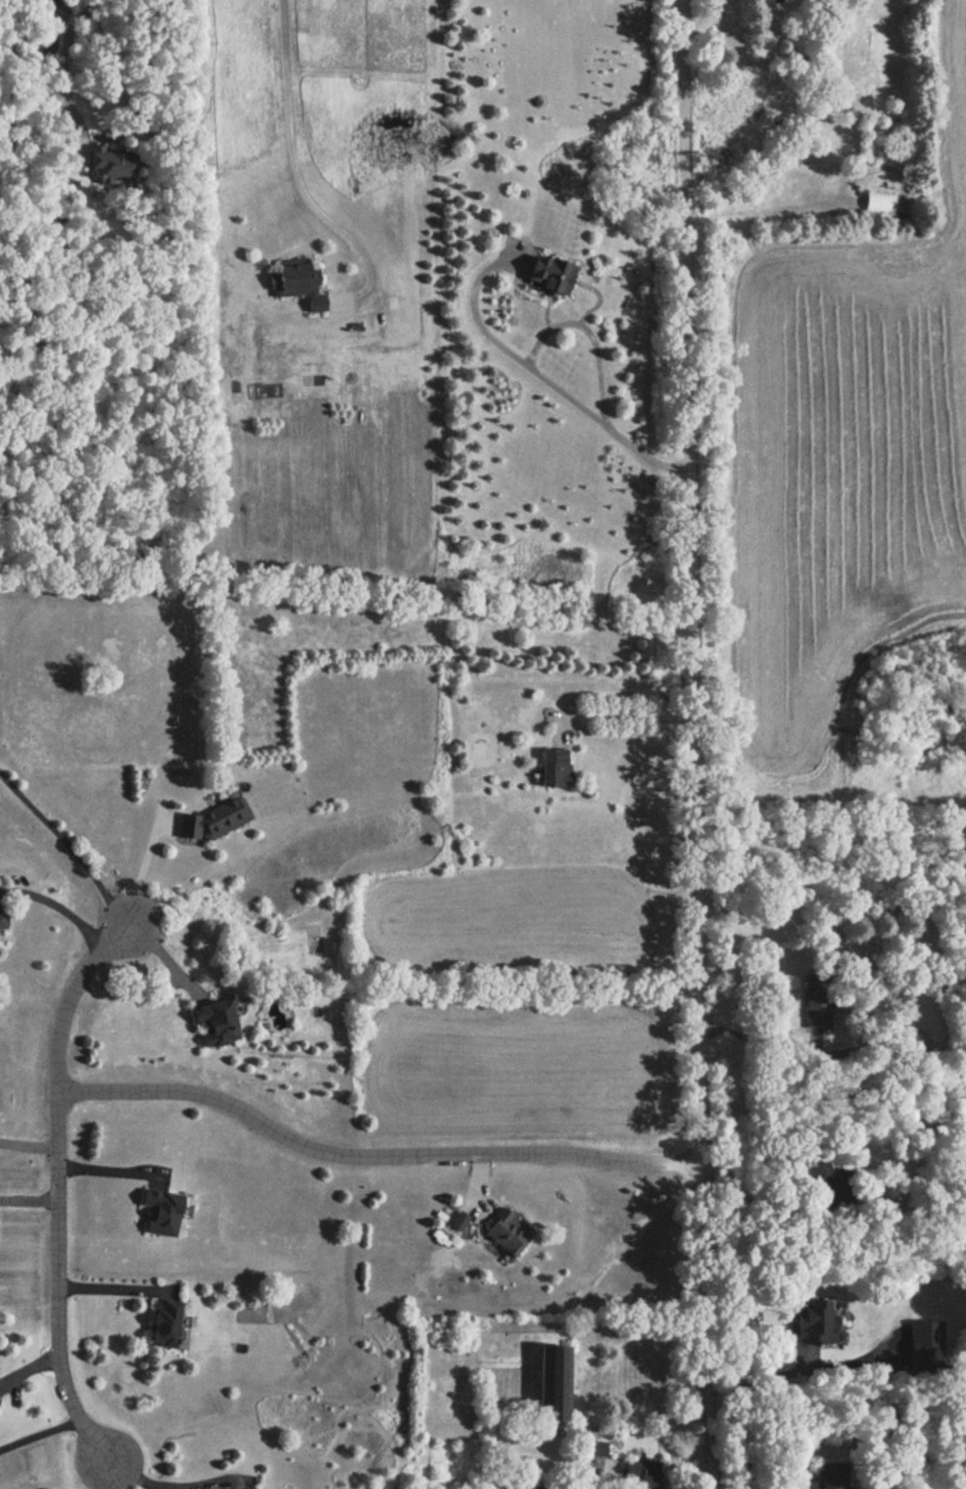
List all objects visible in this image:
building: (767, 1)
road: (64, 48)
road: (294, 160)
building: (113, 167)
building: (877, 202)
building: (546, 276)
building: (293, 282)
road: (542, 378)
road: (616, 714)
road: (693, 744)
building: (552, 768)
building: (211, 820)
road: (67, 845)
road: (147, 860)
road: (58, 908)
building: (1, 920)
road: (166, 957)
building: (210, 1023)
road: (28, 1148)
road: (373, 1154)
road: (112, 1172)
road: (57, 1184)
road: (748, 1199)
building: (158, 1211)
building: (456, 1221)
building: (504, 1230)
road: (113, 1291)
building: (810, 1321)
building: (159, 1322)
building: (920, 1332)
road: (761, 1372)
building: (550, 1381)
road: (39, 1436)
building: (639, 1473)
building: (832, 1475)
road: (110, 1477)
road: (596, 1477)
road: (137, 1480)
road: (222, 1481)

